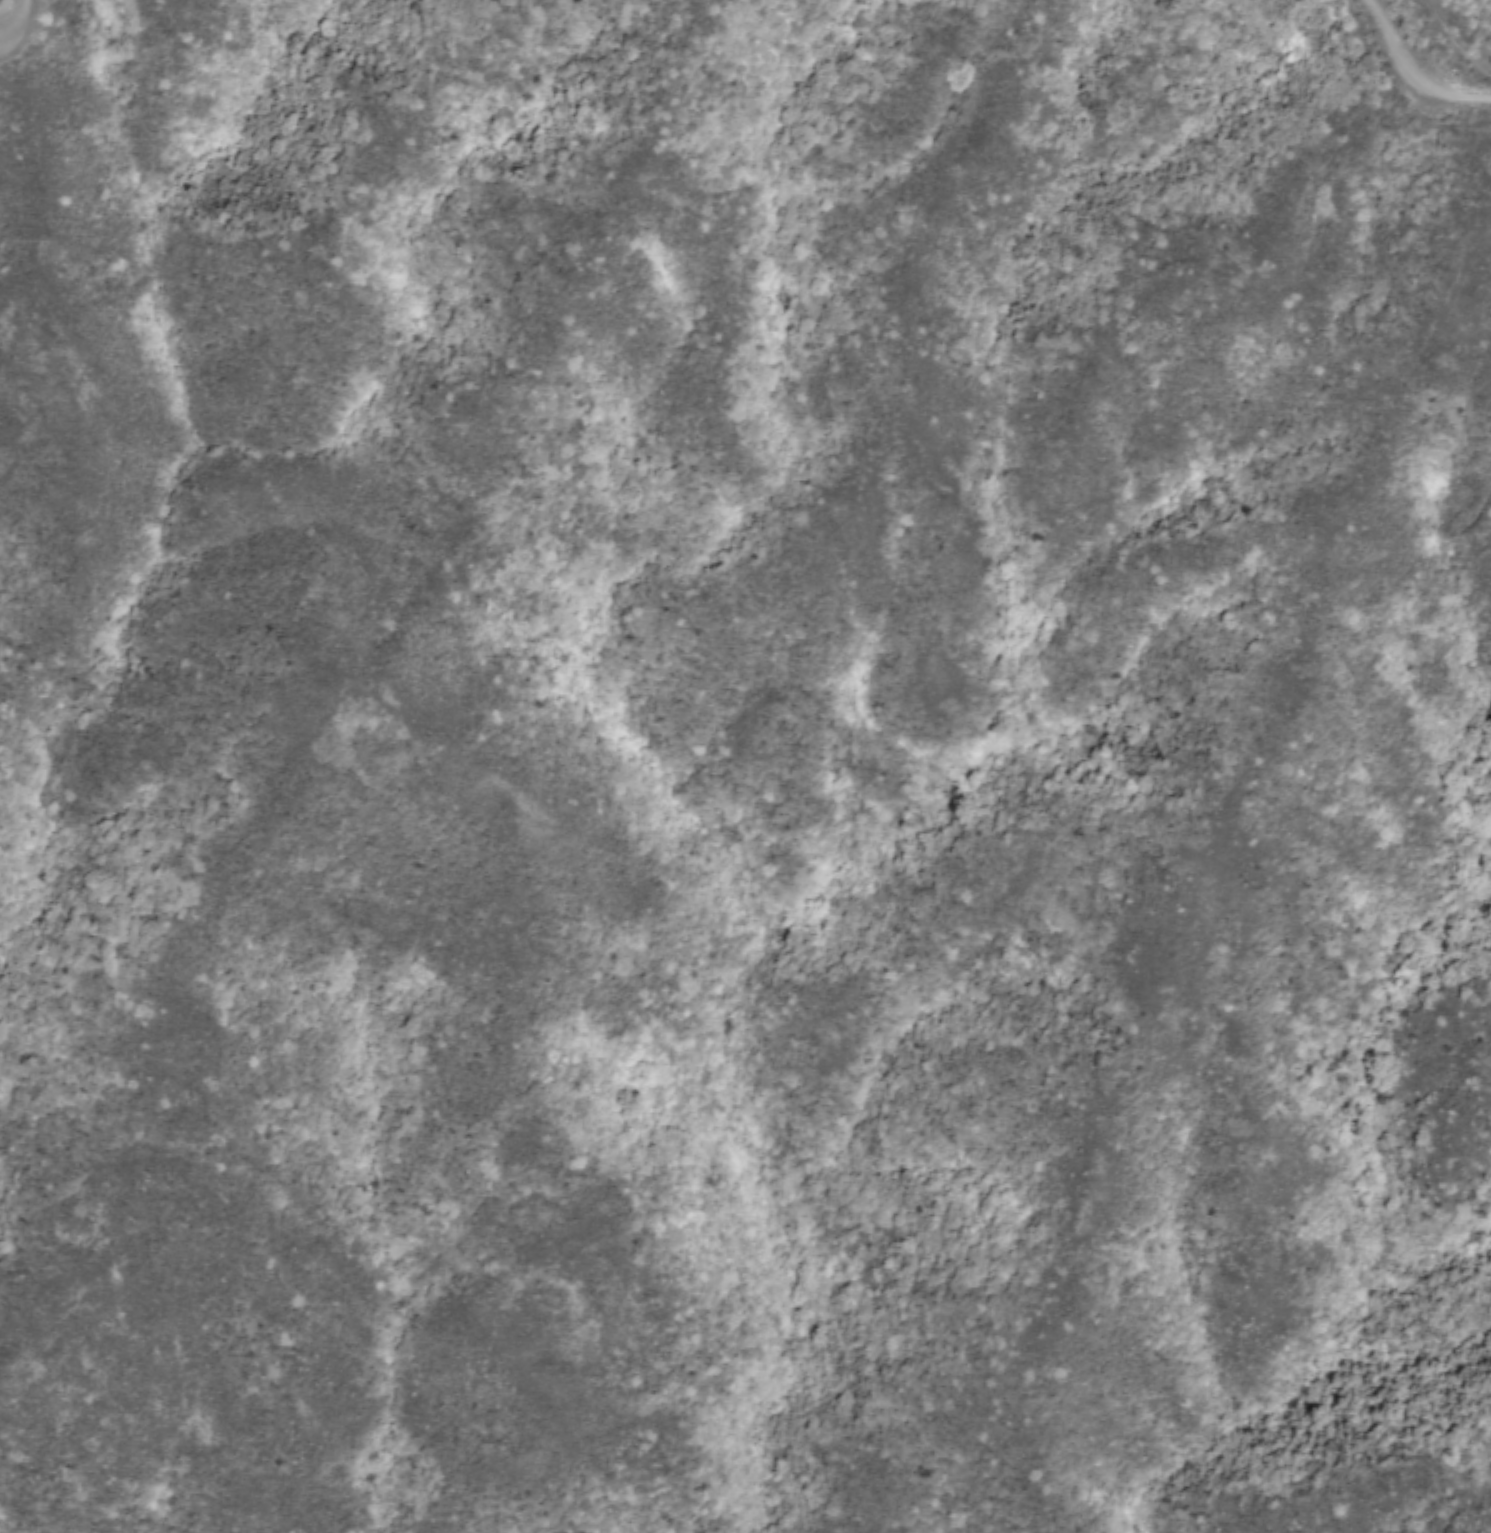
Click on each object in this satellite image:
road: (16, 18)
road: (1454, 41)
road: (1408, 77)

